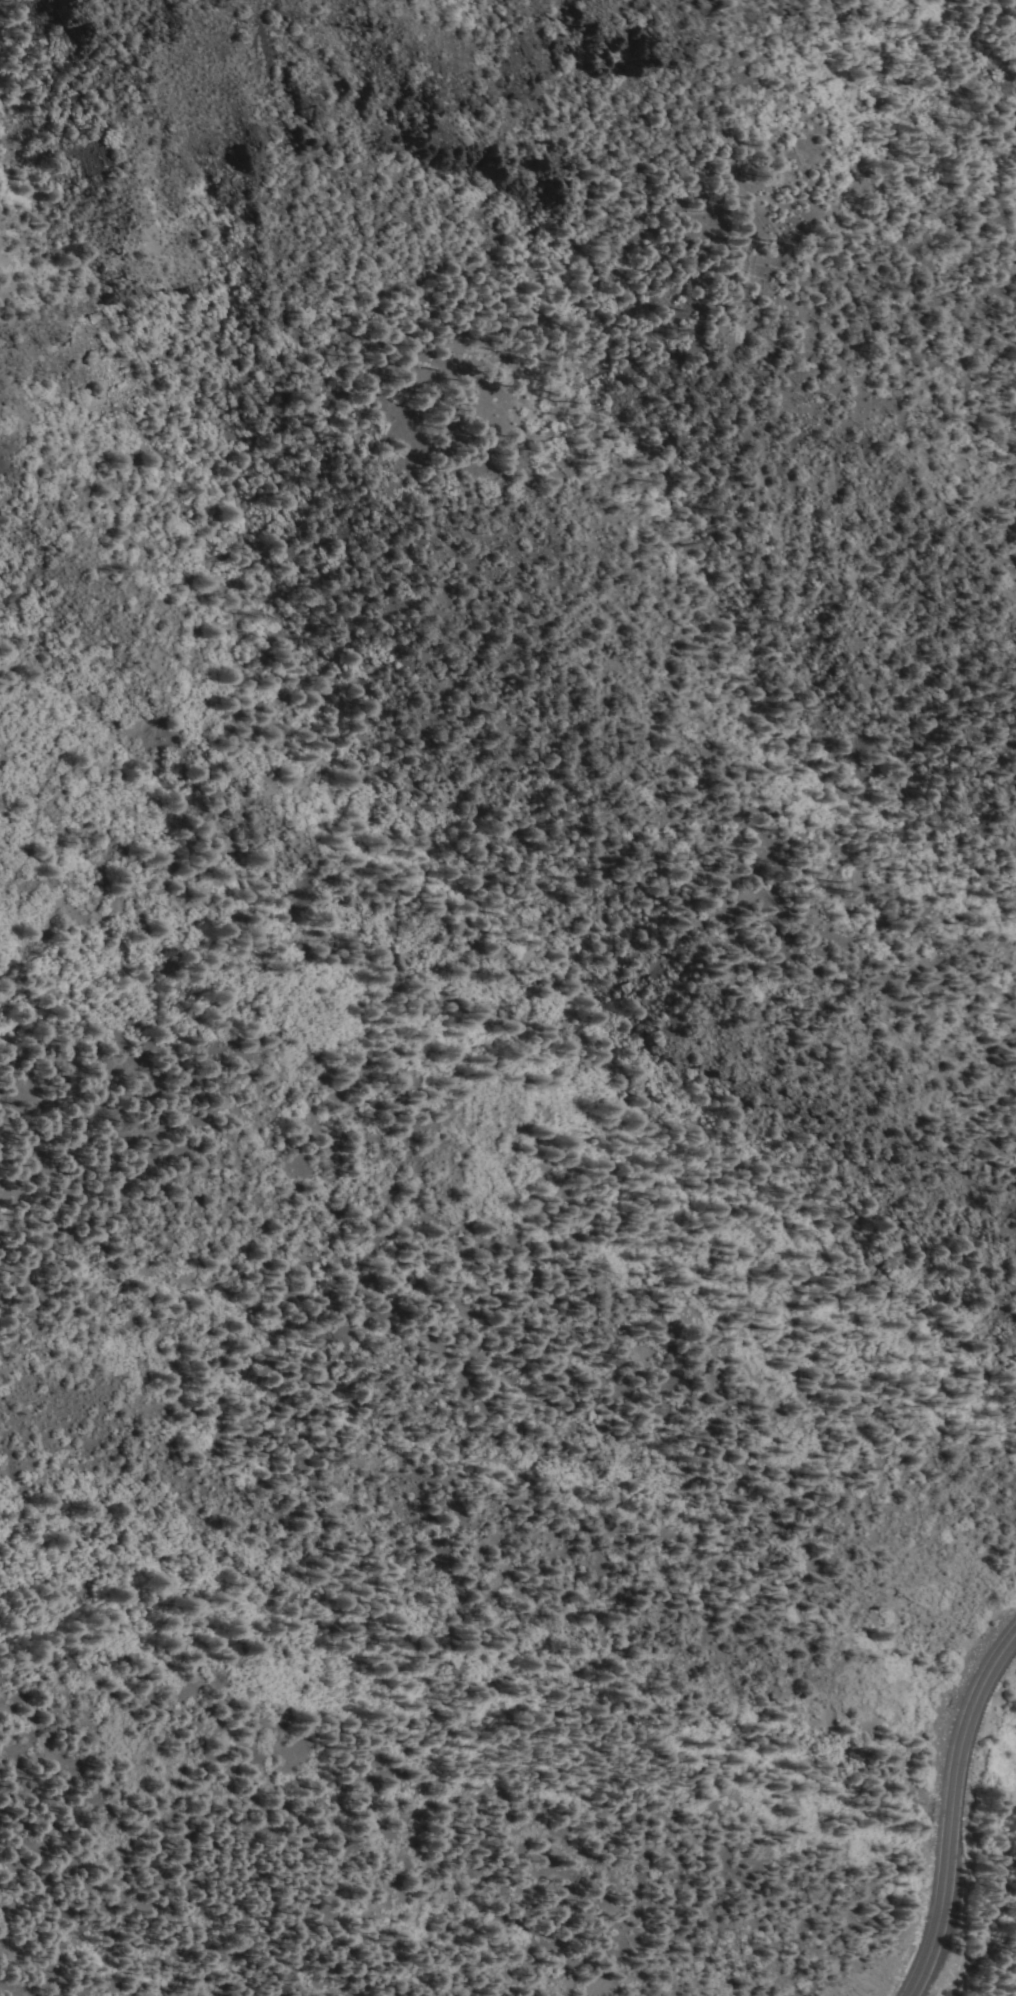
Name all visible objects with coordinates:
road: (950, 1807)

